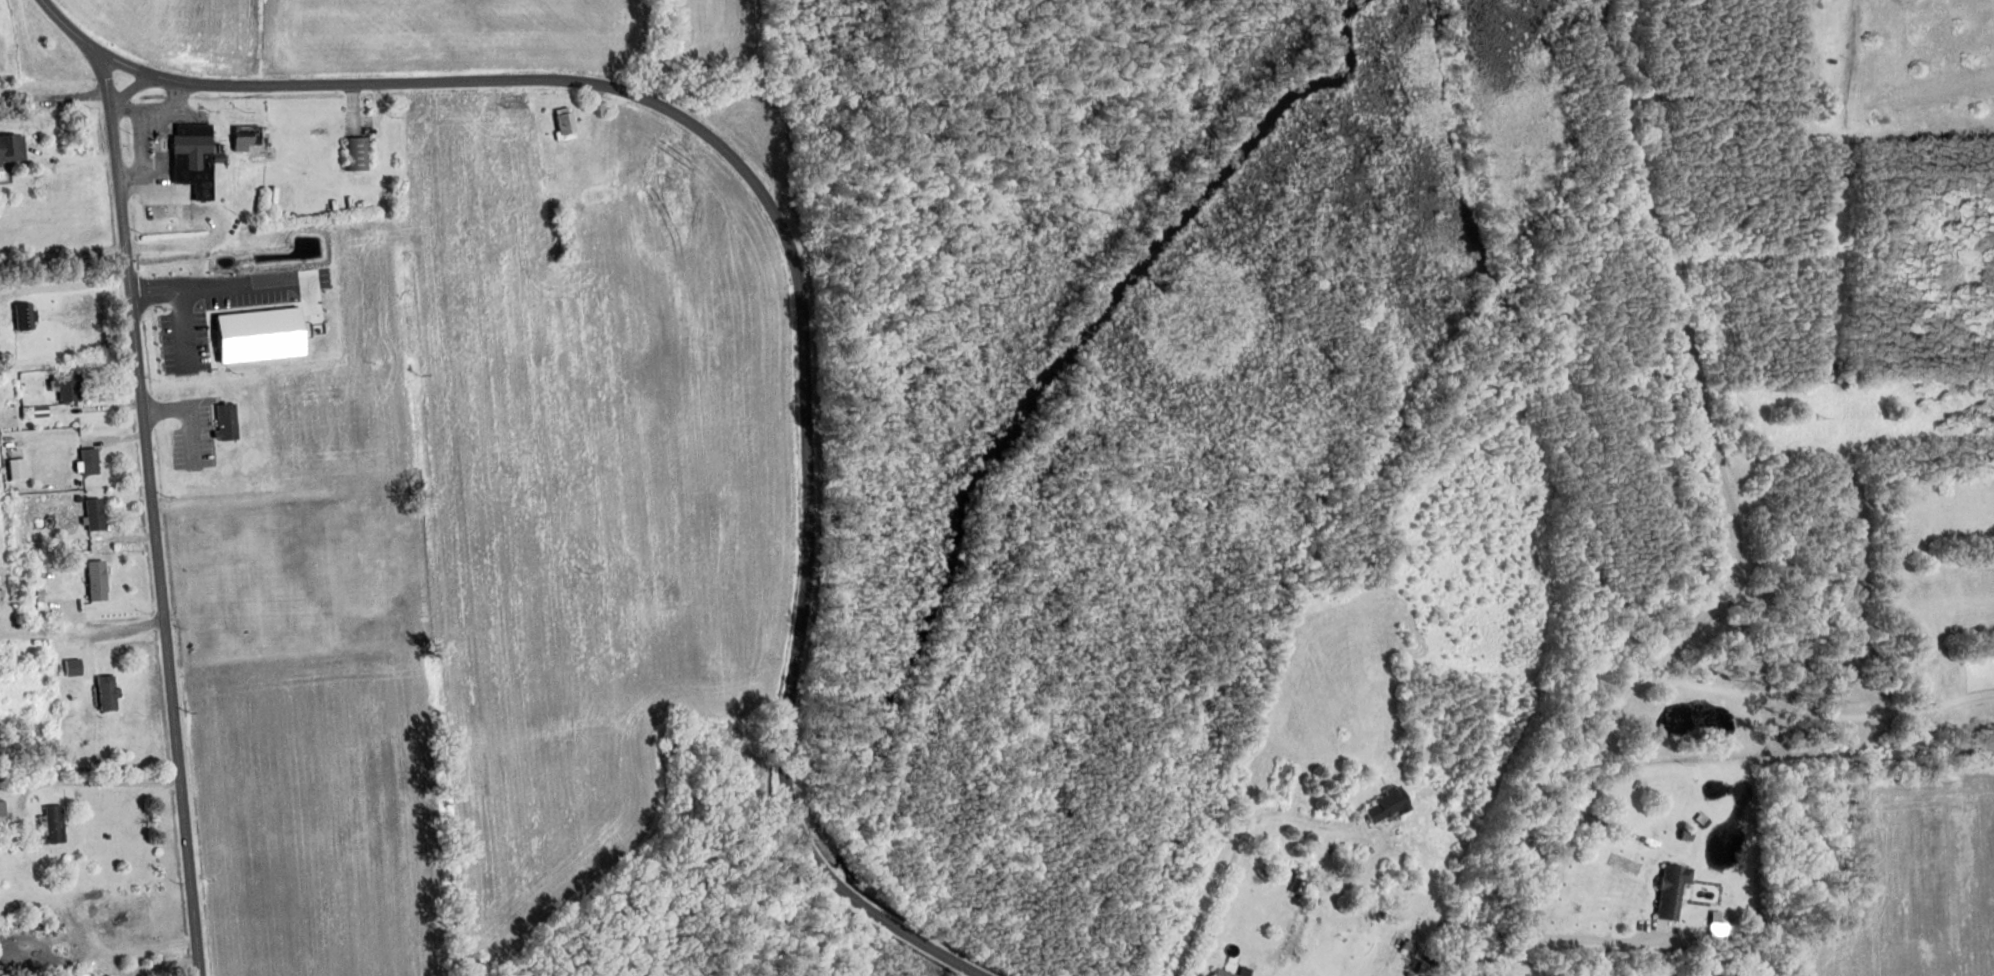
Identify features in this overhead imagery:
road: (70, 28)
crop: (179, 30)
crop: (718, 33)
crop: (451, 36)
road: (130, 89)
road: (1769, 100)
road: (353, 109)
road: (595, 110)
road: (141, 113)
road: (382, 113)
building: (566, 126)
road: (51, 129)
building: (251, 137)
road: (160, 140)
building: (11, 147)
building: (358, 153)
building: (197, 159)
road: (64, 265)
road: (799, 276)
road: (238, 285)
parking lot: (262, 286)
building: (23, 316)
building: (209, 322)
road: (184, 330)
building: (261, 336)
parking lot: (185, 342)
building: (65, 385)
building: (34, 409)
road: (189, 414)
building: (228, 423)
parking lot: (186, 430)
building: (88, 459)
building: (16, 467)
building: (93, 512)
road: (154, 513)
road: (1735, 513)
crop: (492, 550)
building: (96, 578)
road: (83, 632)
building: (72, 666)
building: (106, 691)
road: (1817, 712)
building: (1386, 802)
building: (2, 808)
building: (1462, 819)
building: (1699, 819)
building: (51, 823)
road: (1615, 825)
building: (1684, 834)
road: (1224, 855)
building: (1301, 885)
crop: (1915, 885)
building: (1668, 889)
building: (1714, 915)
building: (68, 932)
building: (1209, 936)
road: (1599, 940)
building: (1411, 945)
building: (1434, 953)
building: (1427, 968)
building: (1227, 972)

